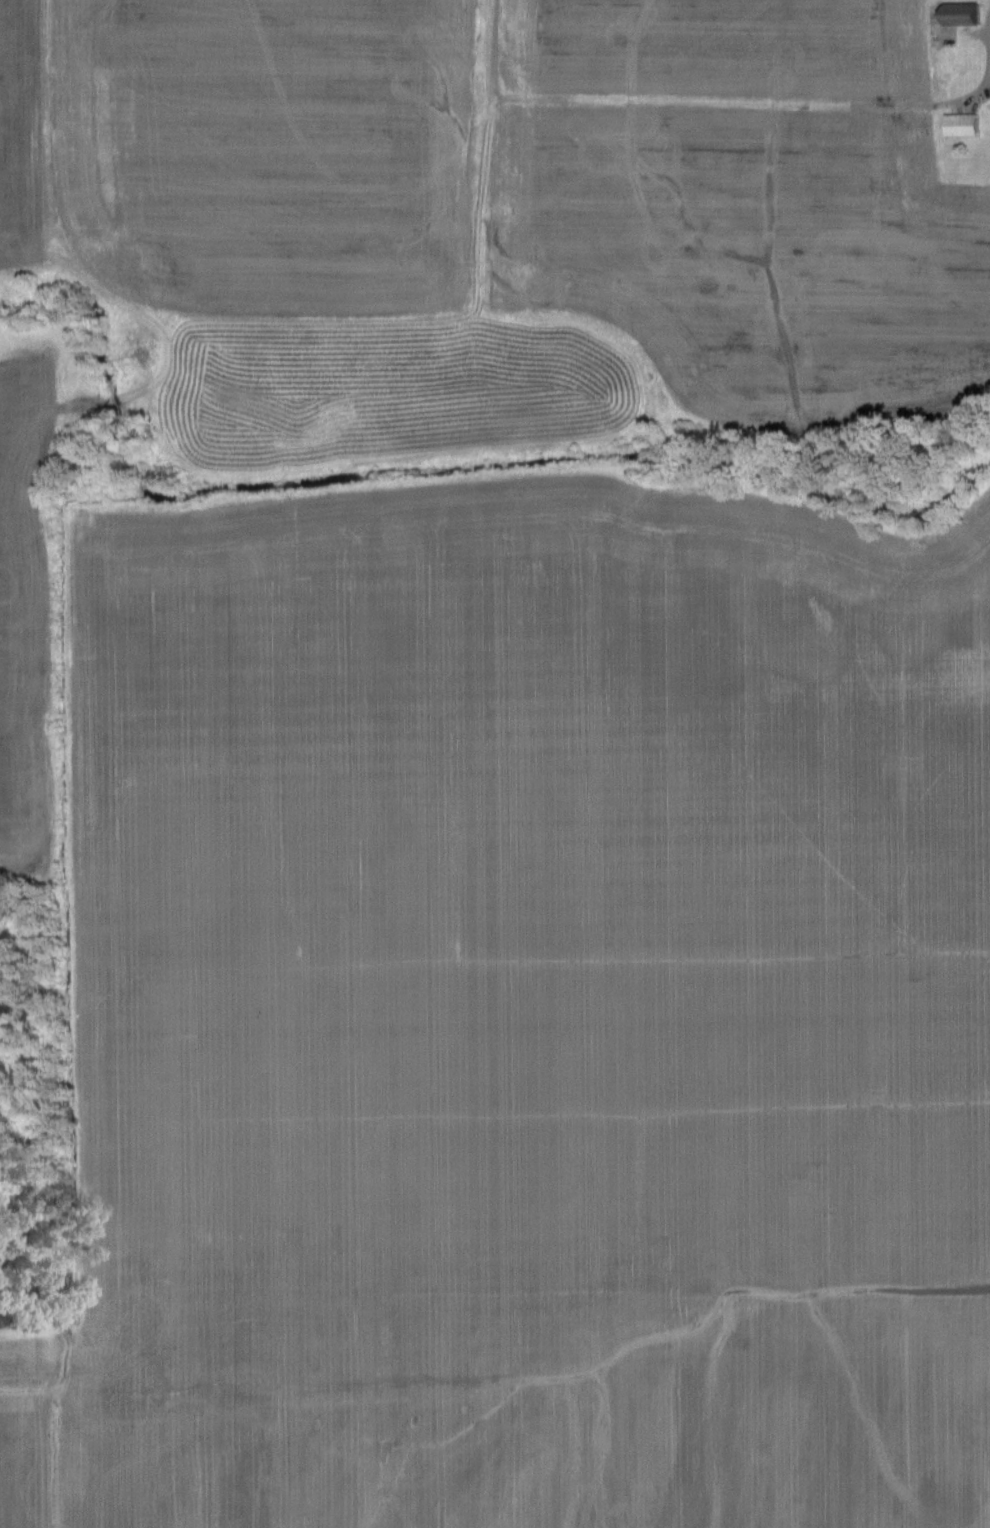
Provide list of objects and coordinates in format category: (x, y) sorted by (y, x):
building: (958, 14)
road: (989, 53)
building: (960, 124)

